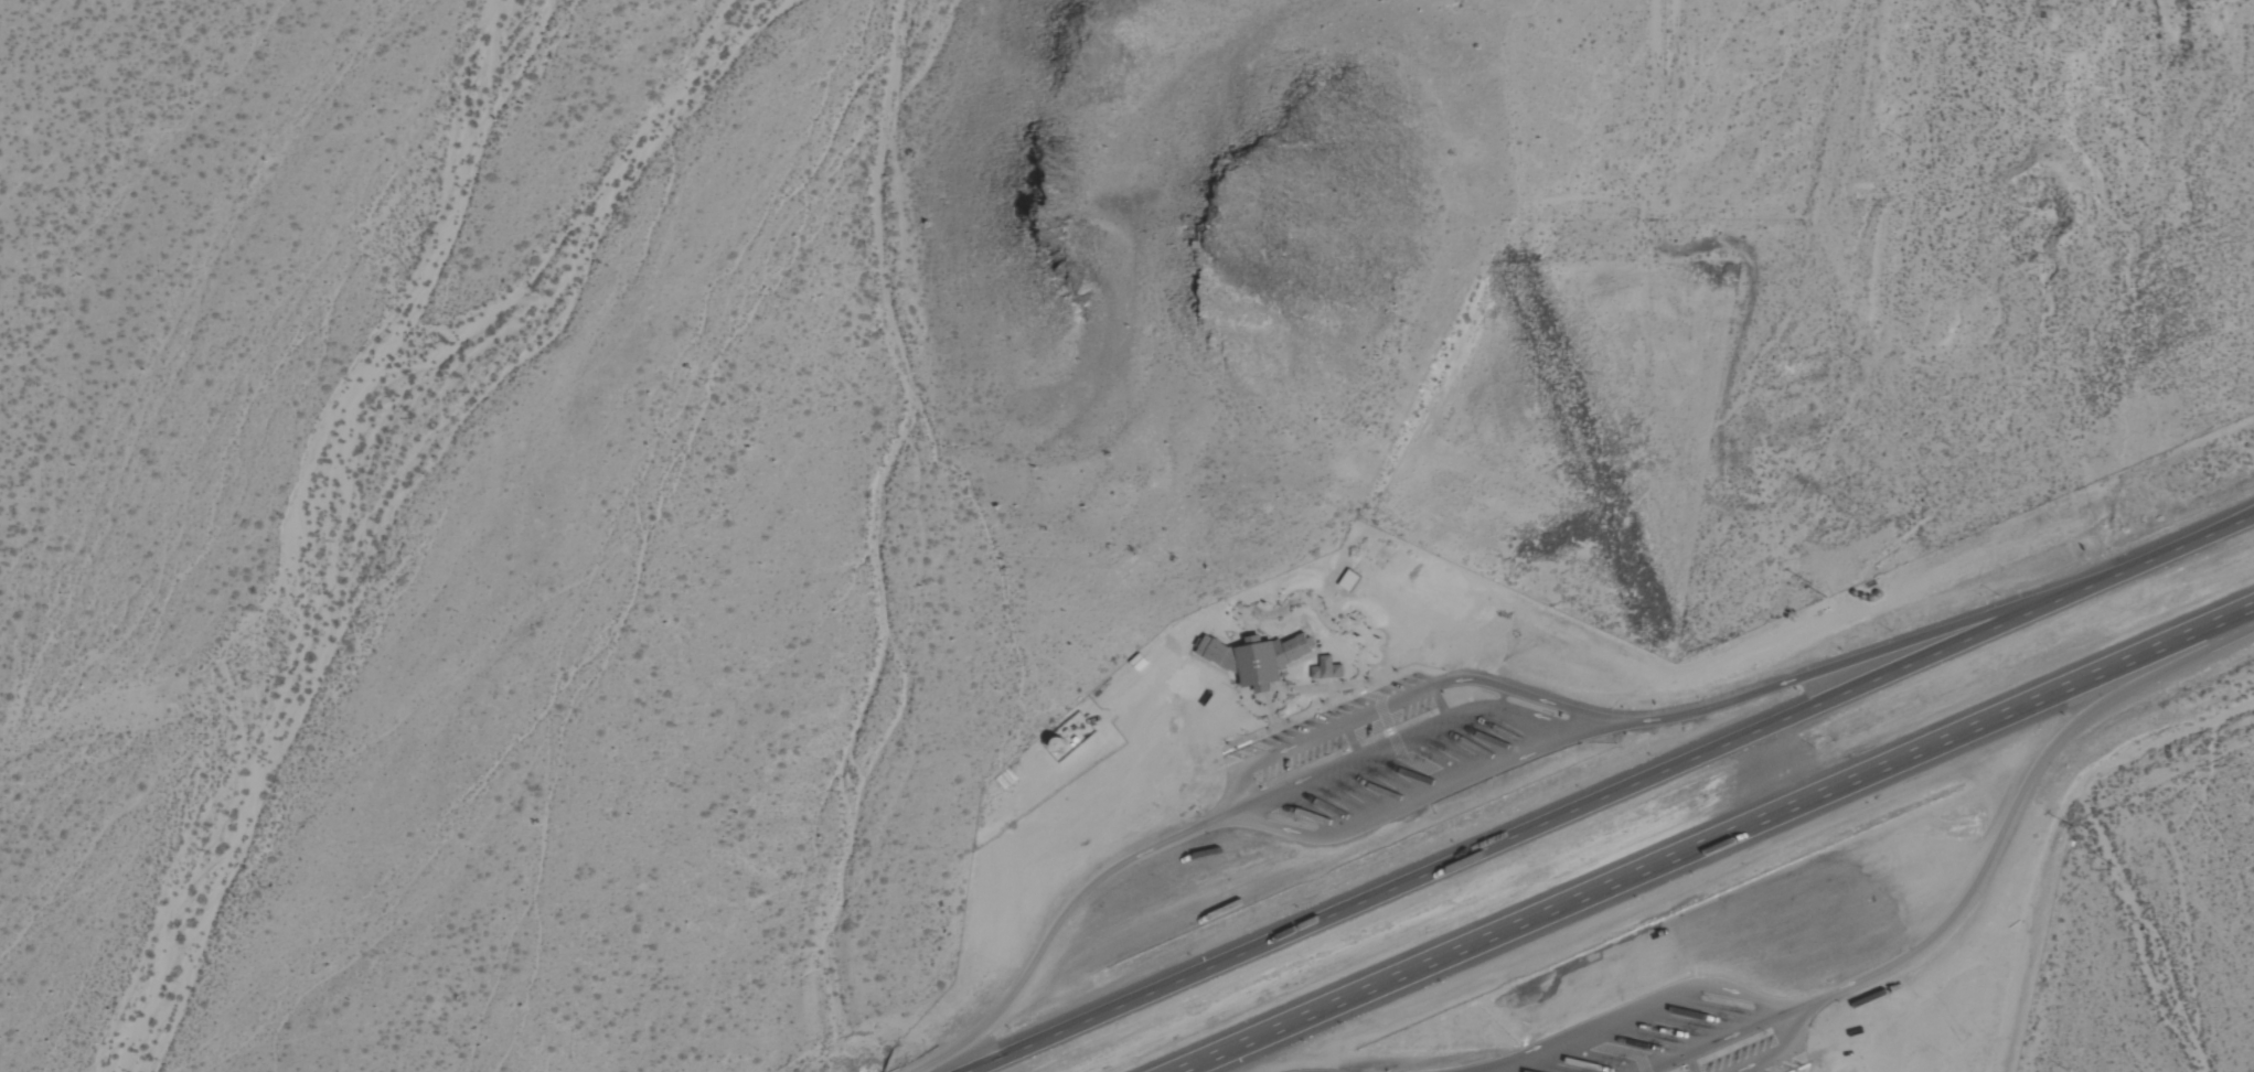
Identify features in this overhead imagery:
building: (1253, 660)
road: (1836, 661)
road: (1395, 704)
road: (1396, 741)
parking lot: (1396, 755)
road: (1605, 795)
road: (1414, 797)
road: (2019, 800)
railway: (1673, 818)
road: (1718, 839)
road: (1059, 916)
road: (1647, 1007)
parking lot: (1671, 1032)
road: (1722, 1036)
road: (1614, 1049)
road: (1784, 1050)
road: (1691, 1061)
road: (1798, 1069)

